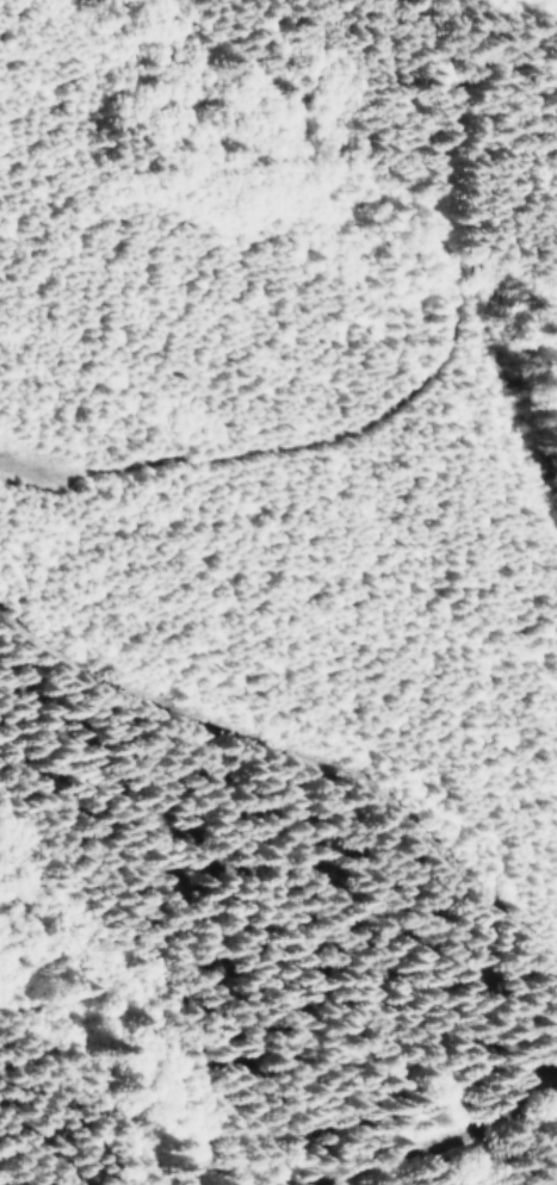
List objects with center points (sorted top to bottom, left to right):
road: (308, 763)
road: (439, 1123)

